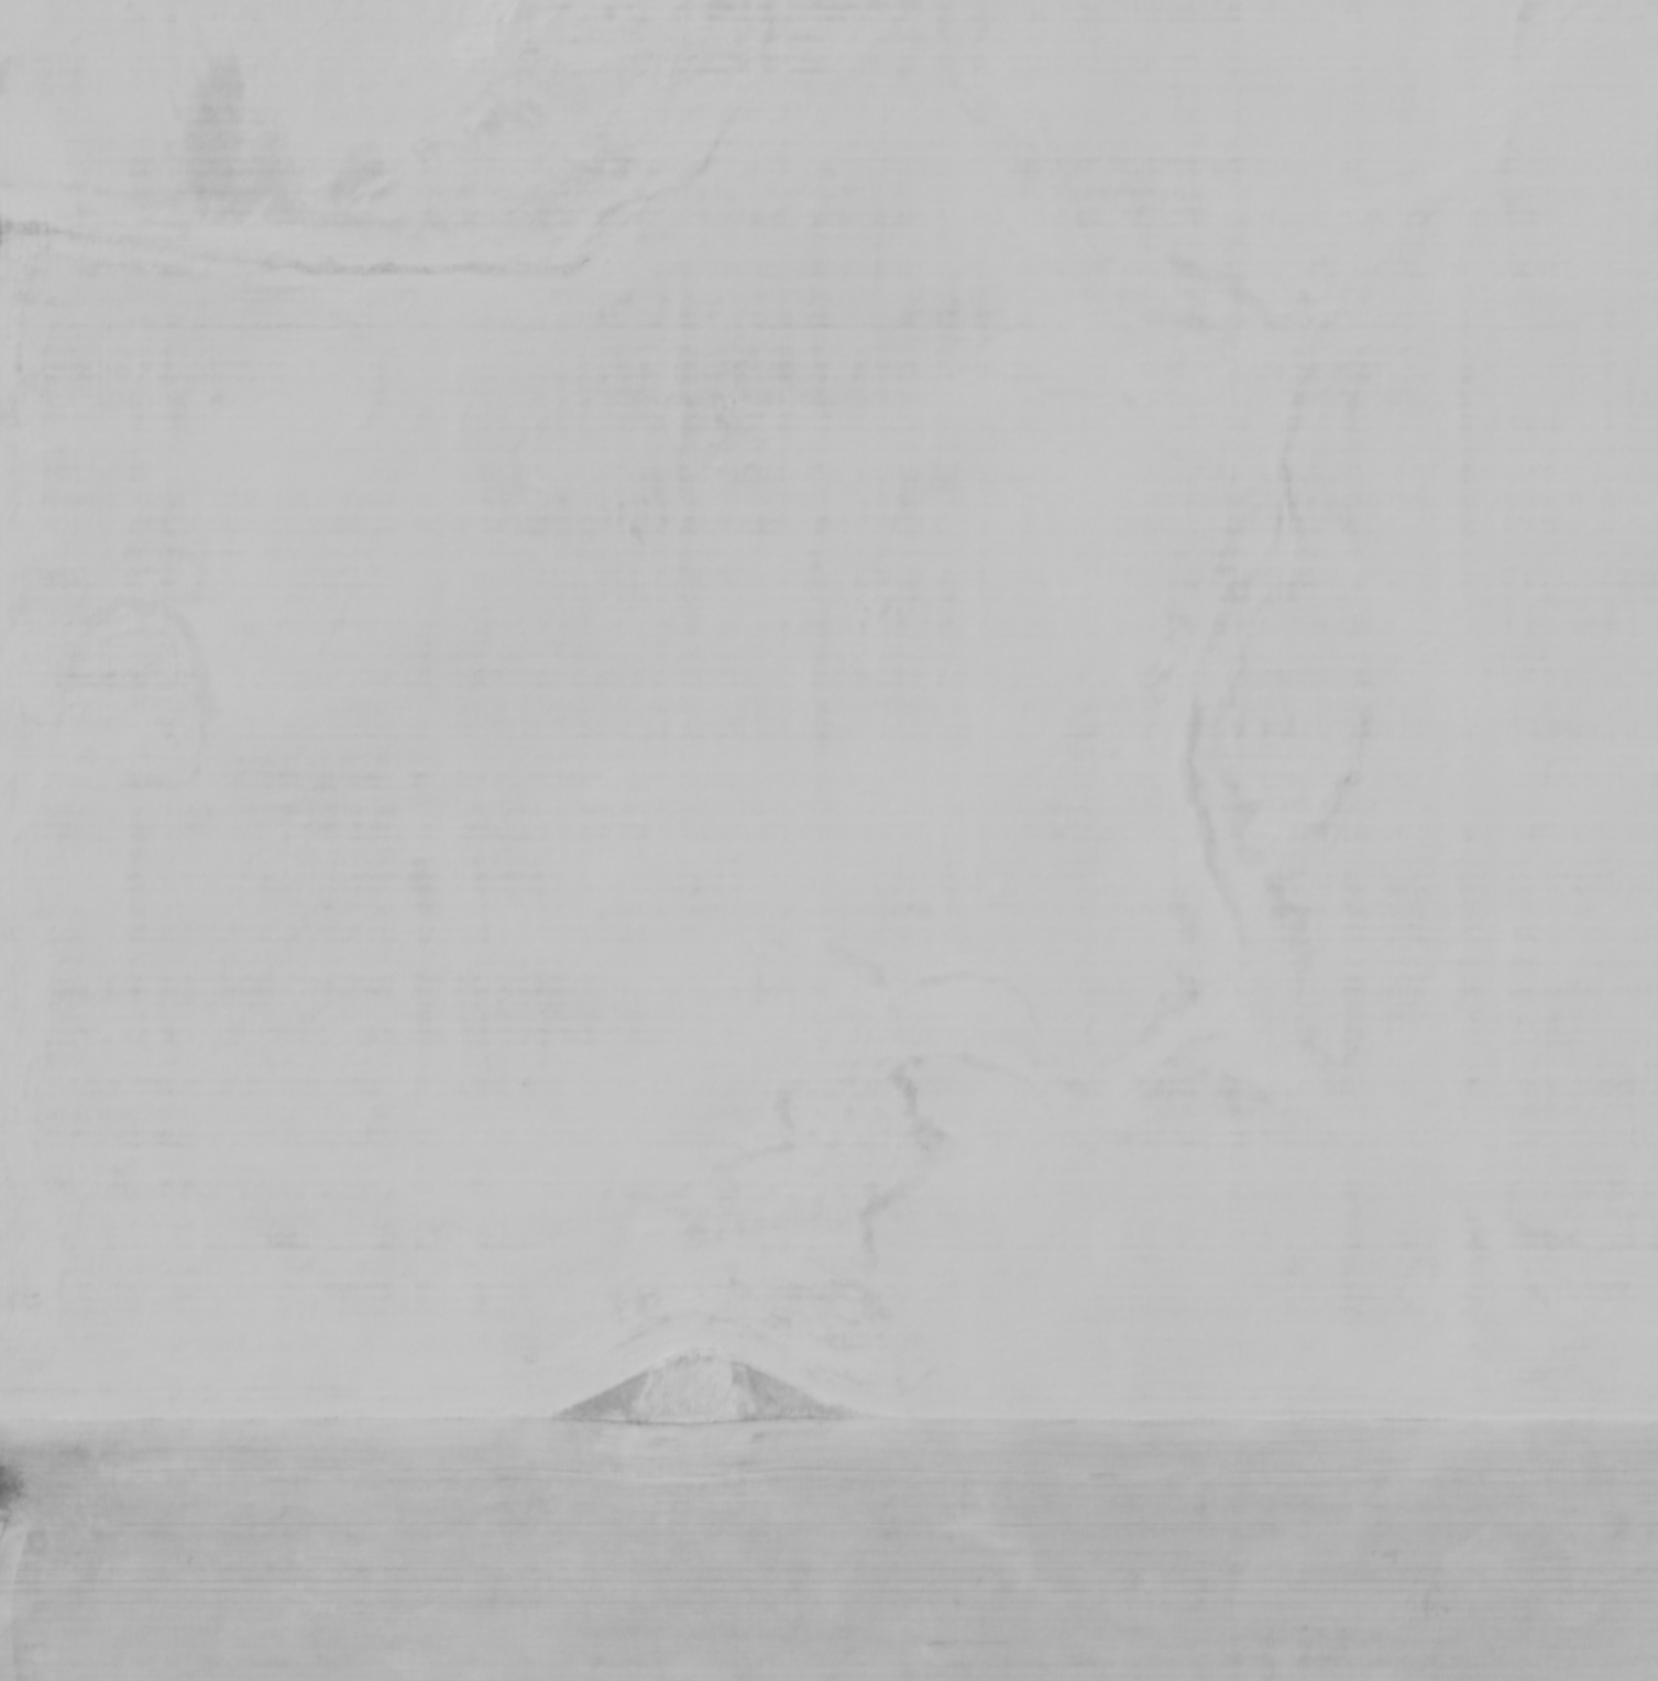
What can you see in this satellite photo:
road: (828, 1418)
building: (50, 1487)

